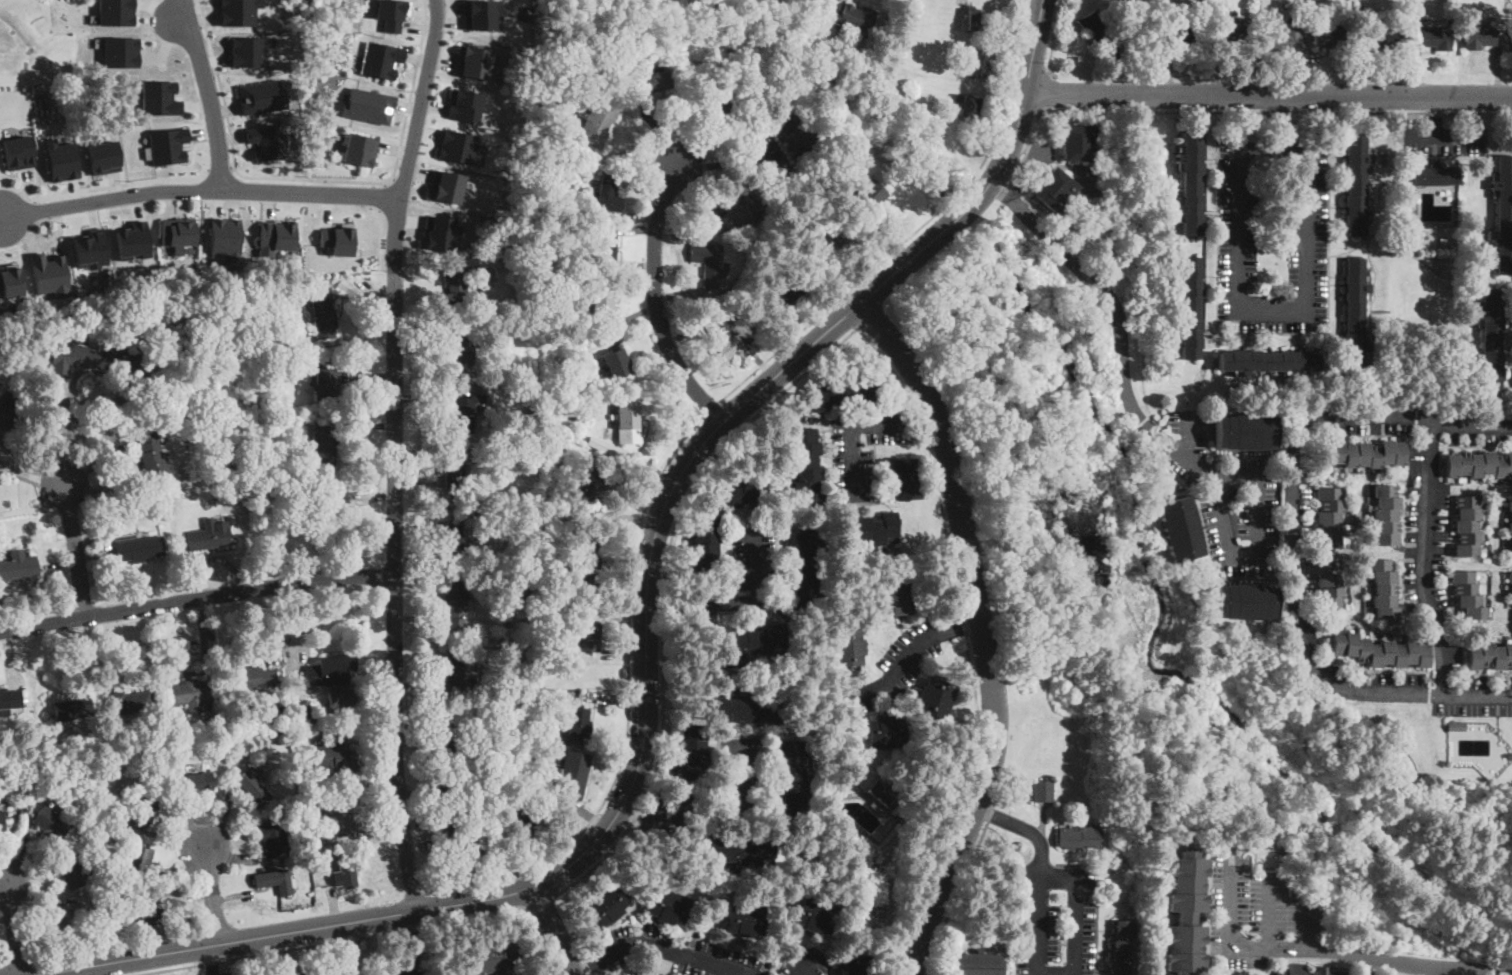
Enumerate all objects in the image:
building: (1457, 6)
building: (1466, 7)
building: (116, 12)
building: (238, 12)
building: (391, 13)
building: (480, 13)
building: (858, 18)
building: (975, 20)
building: (1261, 21)
building: (1158, 25)
building: (1233, 28)
building: (1097, 32)
building: (1381, 37)
building: (1478, 37)
building: (1177, 38)
building: (1284, 38)
building: (1330, 38)
building: (1433, 38)
road: (1053, 40)
building: (249, 50)
building: (120, 51)
building: (380, 59)
building: (474, 61)
building: (778, 61)
building: (977, 67)
building: (651, 83)
road: (1046, 92)
road: (1269, 94)
building: (261, 96)
building: (159, 97)
road: (209, 99)
building: (465, 104)
building: (719, 104)
building: (368, 105)
building: (969, 106)
road: (1227, 111)
building: (599, 122)
building: (799, 133)
road: (1419, 139)
road: (1433, 139)
parking lot: (1444, 140)
building: (267, 141)
building: (1079, 143)
building: (167, 145)
building: (458, 147)
road: (1030, 149)
building: (358, 150)
building: (17, 152)
building: (103, 156)
building: (61, 159)
road: (733, 164)
road: (220, 167)
building: (1434, 175)
road: (317, 181)
road: (121, 184)
building: (1189, 184)
building: (445, 185)
building: (1357, 185)
road: (200, 190)
building: (1055, 190)
building: (608, 194)
building: (869, 195)
road: (385, 196)
road: (1076, 207)
building: (744, 210)
building: (1502, 215)
parking lot: (1309, 226)
road: (918, 229)
building: (178, 232)
building: (440, 232)
building: (275, 234)
building: (225, 237)
building: (827, 237)
road: (382, 238)
building: (337, 239)
building: (132, 241)
building: (605, 248)
building: (91, 249)
building: (172, 250)
parking lot: (1251, 253)
building: (708, 263)
building: (49, 274)
building: (10, 281)
building: (454, 290)
building: (783, 294)
road: (656, 301)
building: (601, 305)
building: (1188, 307)
road: (1294, 312)
building: (324, 316)
building: (1355, 317)
road: (858, 327)
building: (281, 335)
building: (723, 338)
building: (257, 339)
building: (1490, 340)
building: (462, 356)
building: (276, 358)
building: (96, 362)
building: (1269, 362)
building: (618, 364)
road: (1122, 381)
building: (327, 385)
building: (844, 393)
building: (175, 401)
building: (257, 403)
building: (167, 404)
building: (10, 407)
road: (712, 409)
building: (464, 414)
building: (629, 423)
road: (859, 426)
road: (65, 431)
building: (1246, 433)
road: (1187, 434)
building: (325, 442)
building: (549, 445)
building: (606, 446)
road: (395, 453)
building: (1363, 454)
building: (153, 455)
building: (1478, 464)
building: (455, 469)
building: (807, 469)
building: (222, 473)
building: (903, 480)
building: (597, 484)
building: (277, 490)
building: (740, 493)
building: (154, 506)
building: (326, 506)
building: (1386, 515)
building: (1330, 517)
building: (1511, 517)
road: (1224, 525)
building: (1467, 527)
building: (1179, 529)
building: (871, 530)
building: (210, 537)
building: (452, 542)
road: (1296, 542)
building: (704, 543)
building: (139, 548)
road: (74, 550)
parking lot: (754, 556)
road: (1427, 559)
building: (588, 562)
building: (18, 566)
building: (805, 570)
building: (1328, 583)
building: (1511, 585)
building: (1482, 587)
building: (1384, 590)
building: (1468, 595)
building: (898, 598)
road: (197, 600)
road: (735, 601)
building: (1246, 602)
building: (456, 604)
road: (984, 631)
building: (585, 638)
building: (752, 642)
road: (646, 644)
road: (630, 647)
building: (847, 648)
building: (1380, 651)
road: (911, 653)
building: (1489, 656)
building: (329, 669)
building: (460, 669)
building: (253, 682)
building: (193, 694)
building: (935, 698)
building: (10, 699)
building: (340, 701)
building: (130, 703)
building: (73, 710)
building: (747, 710)
building: (262, 713)
building: (300, 713)
building: (310, 720)
building: (576, 721)
building: (1456, 726)
building: (885, 732)
building: (694, 753)
building: (336, 758)
building: (455, 762)
building: (572, 774)
building: (791, 781)
building: (200, 782)
building: (149, 783)
building: (252, 789)
building: (843, 790)
building: (1043, 791)
building: (879, 797)
building: (144, 809)
road: (714, 811)
building: (534, 812)
building: (337, 813)
building: (2, 821)
building: (51, 824)
building: (273, 837)
building: (1080, 837)
building: (465, 841)
building: (735, 848)
building: (139, 858)
building: (349, 868)
building: (71, 872)
building: (118, 878)
building: (275, 881)
road: (212, 895)
road: (953, 903)
road: (540, 904)
building: (606, 905)
building: (668, 907)
building: (149, 908)
road: (1268, 912)
building: (1186, 913)
parking lot: (1259, 915)
building: (816, 916)
building: (745, 920)
parking lot: (1054, 920)
building: (68, 921)
road: (1306, 924)
road: (14, 927)
road: (551, 930)
road: (412, 933)
road: (539, 941)
road: (334, 942)
road: (655, 943)
road: (350, 947)
building: (1123, 949)
road: (1313, 950)
road: (1038, 952)
building: (494, 957)
road: (212, 959)
building: (979, 964)
road: (410, 965)
road: (806, 965)
building: (856, 965)
parking lot: (380, 966)
building: (1292, 968)
building: (1364, 973)
parking lot: (213, 974)
road: (213, 974)
building: (302, 974)
road: (349, 974)
building: (648, 974)
building: (657, 974)

